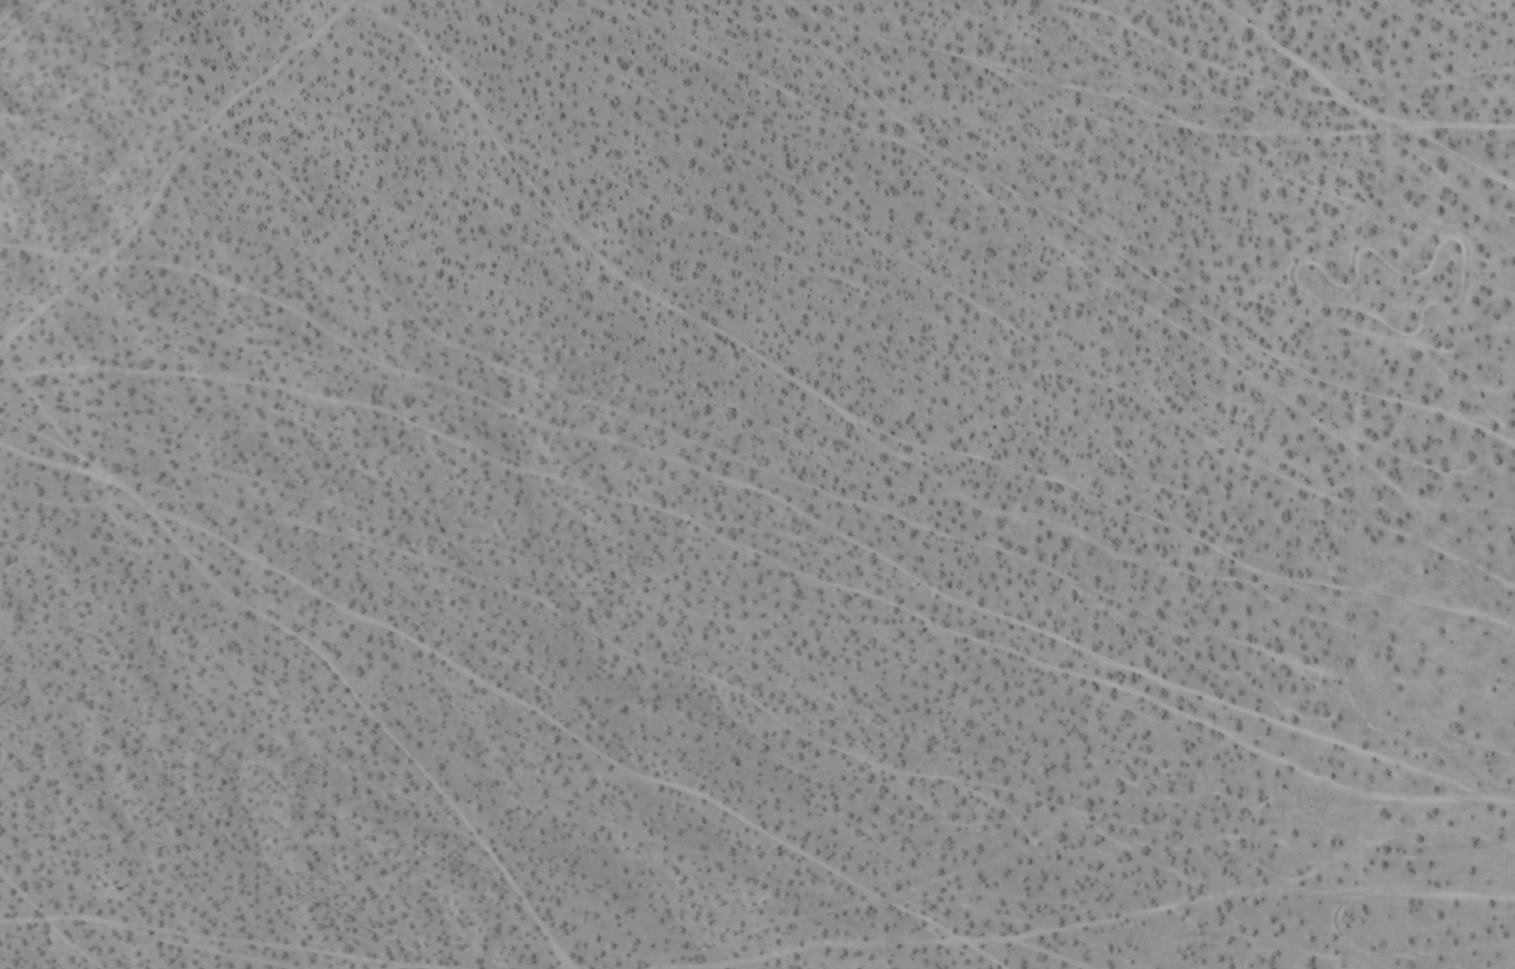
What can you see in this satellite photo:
crop: (757, 484)
road: (1405, 802)

